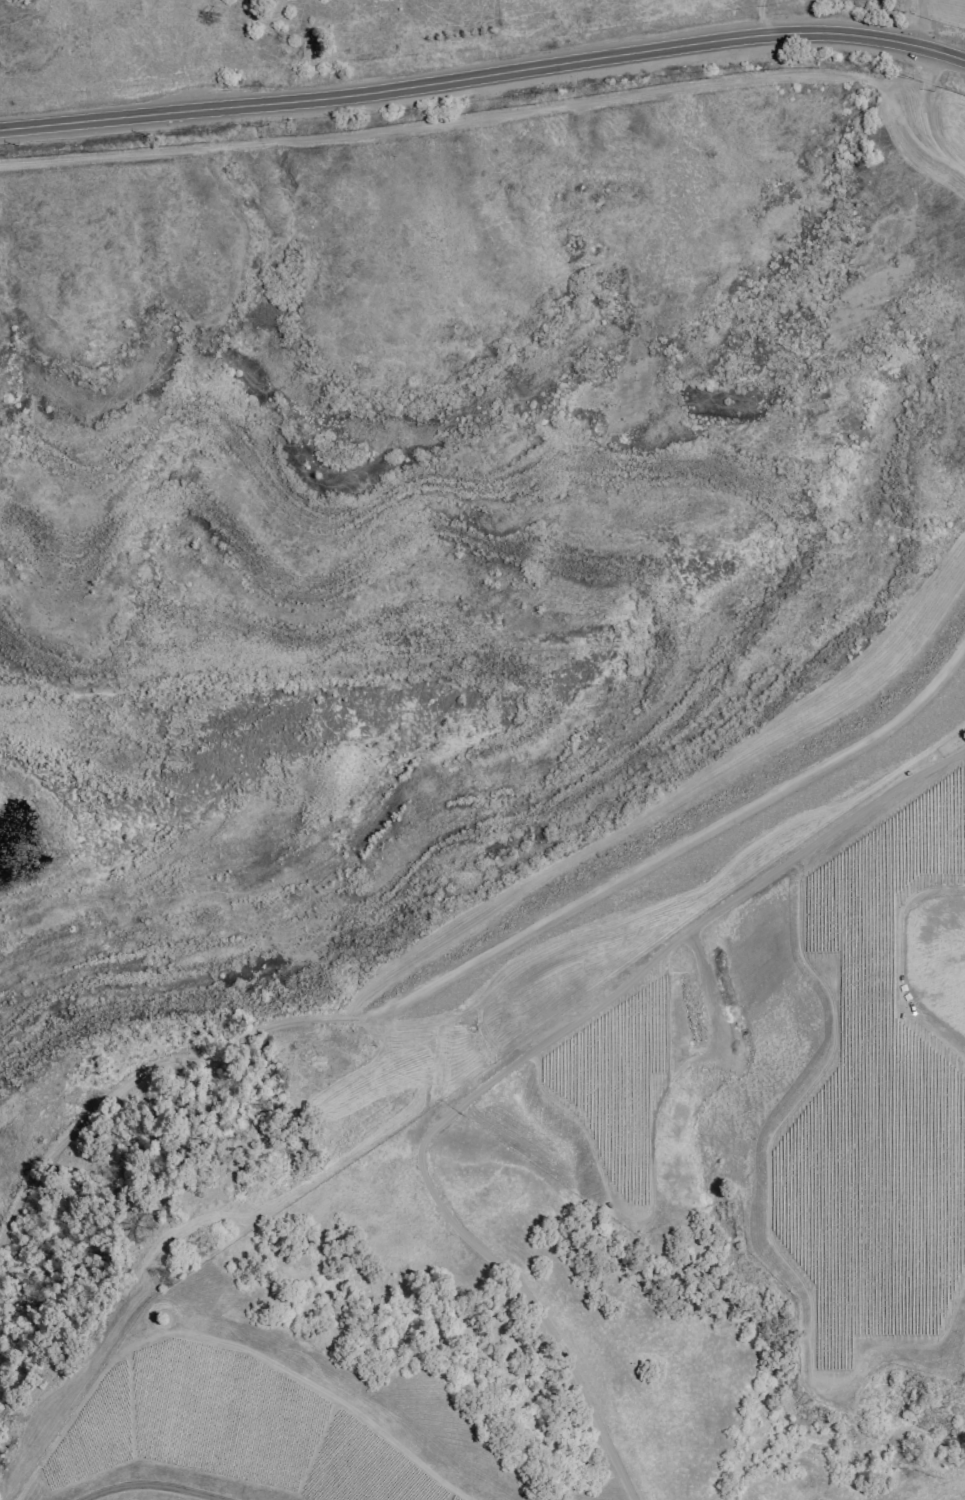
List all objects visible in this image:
road: (762, 19)
road: (921, 25)
road: (483, 80)
road: (501, 112)
road: (926, 116)
road: (963, 171)
dam: (684, 839)
road: (477, 959)
road: (498, 1063)
road: (152, 1486)

